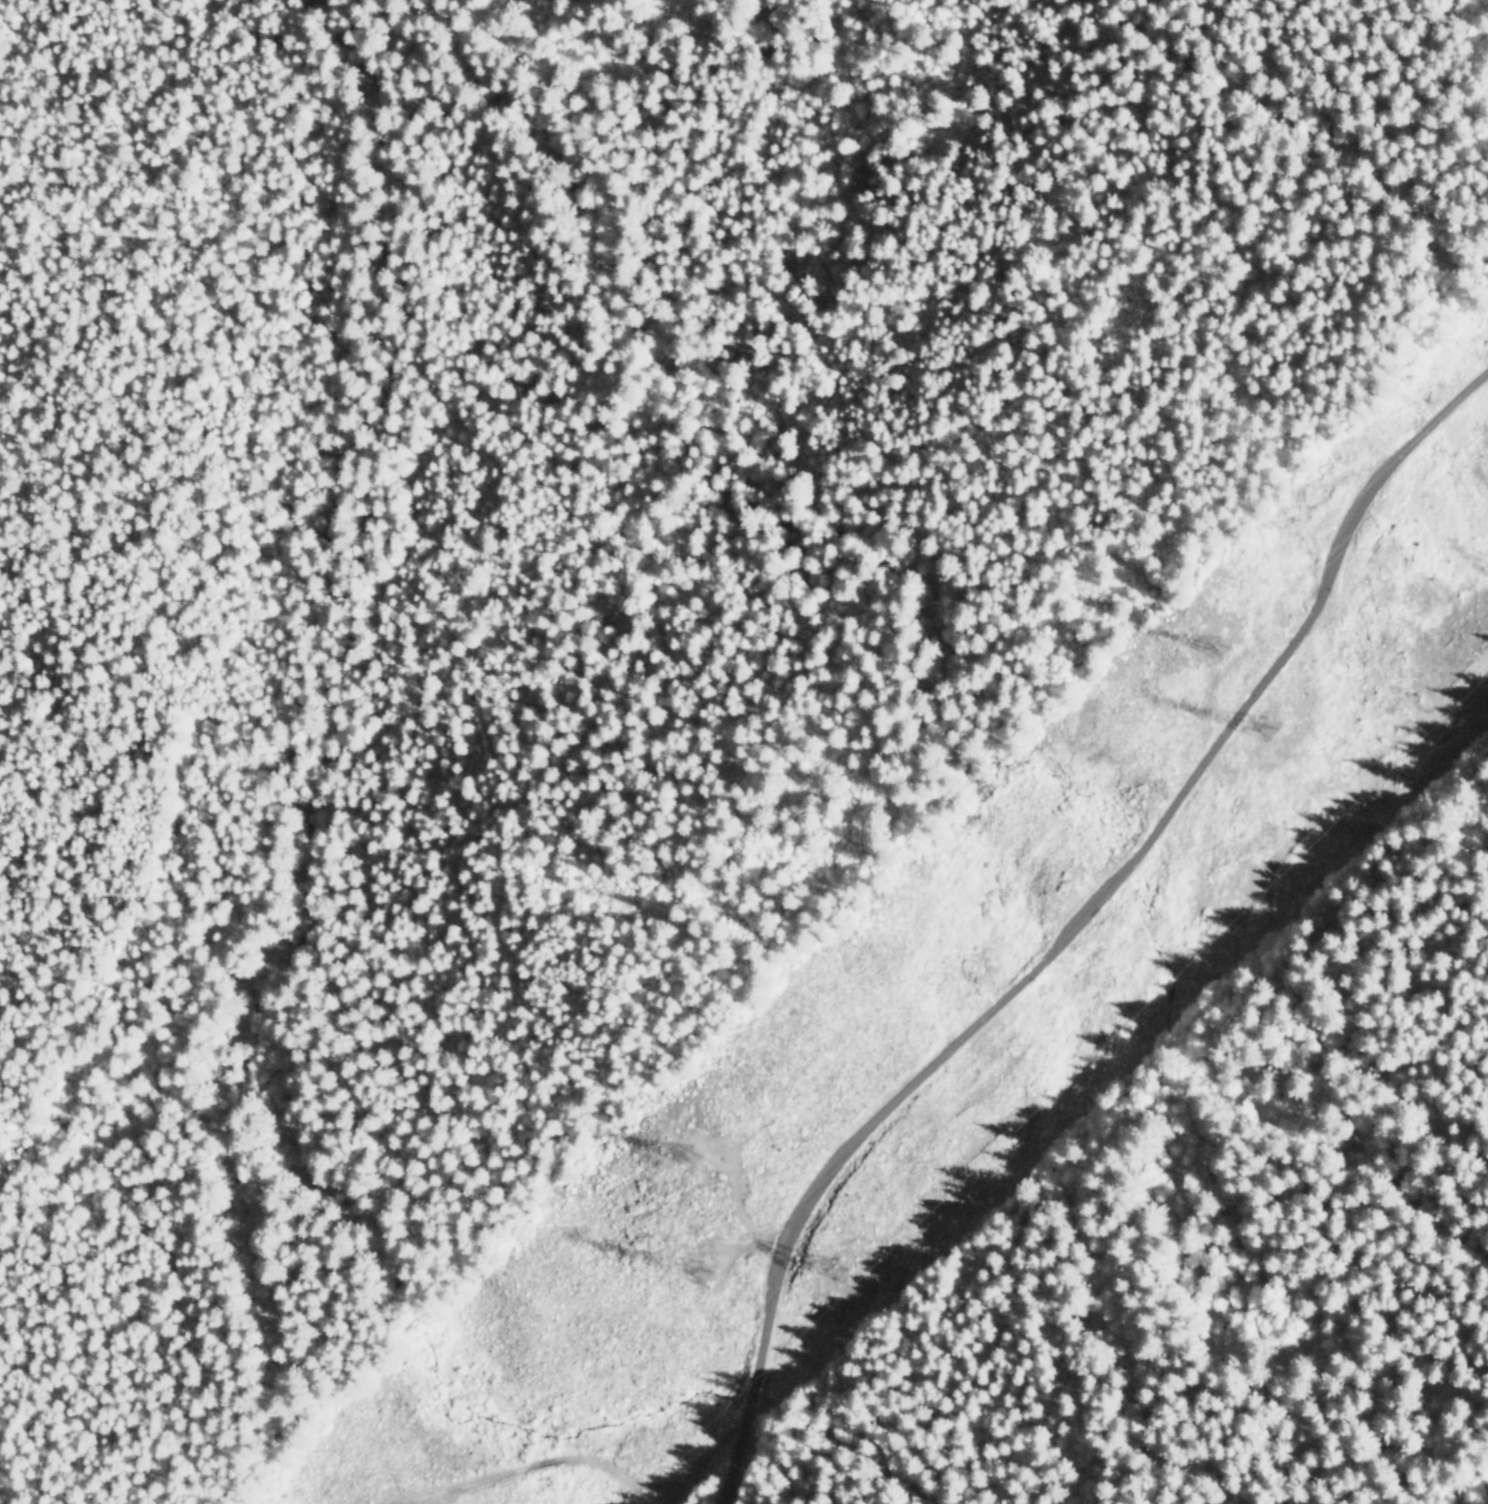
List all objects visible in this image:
power tower: (1212, 647)
power tower: (1276, 734)
road: (1072, 924)
power tower: (705, 1154)
power tower: (696, 1272)
power tower: (841, 1277)

